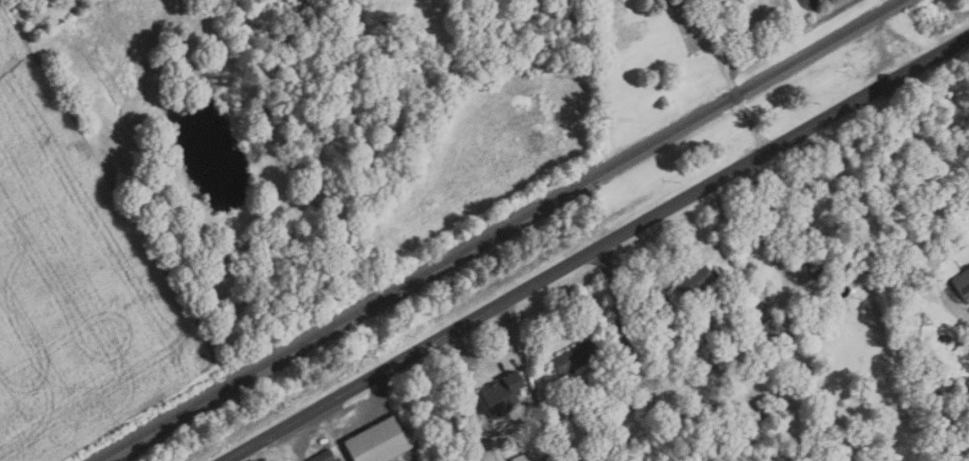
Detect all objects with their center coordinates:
building: (710, 6)
building: (356, 18)
road: (790, 38)
road: (729, 81)
road: (946, 198)
road: (917, 206)
railway: (504, 230)
road: (597, 248)
road: (771, 262)
building: (830, 267)
building: (963, 281)
building: (692, 283)
building: (778, 329)
road: (629, 347)
building: (577, 356)
road: (750, 382)
building: (504, 394)
building: (941, 398)
building: (716, 412)
building: (757, 419)
road: (297, 442)
building: (379, 442)
building: (326, 456)

